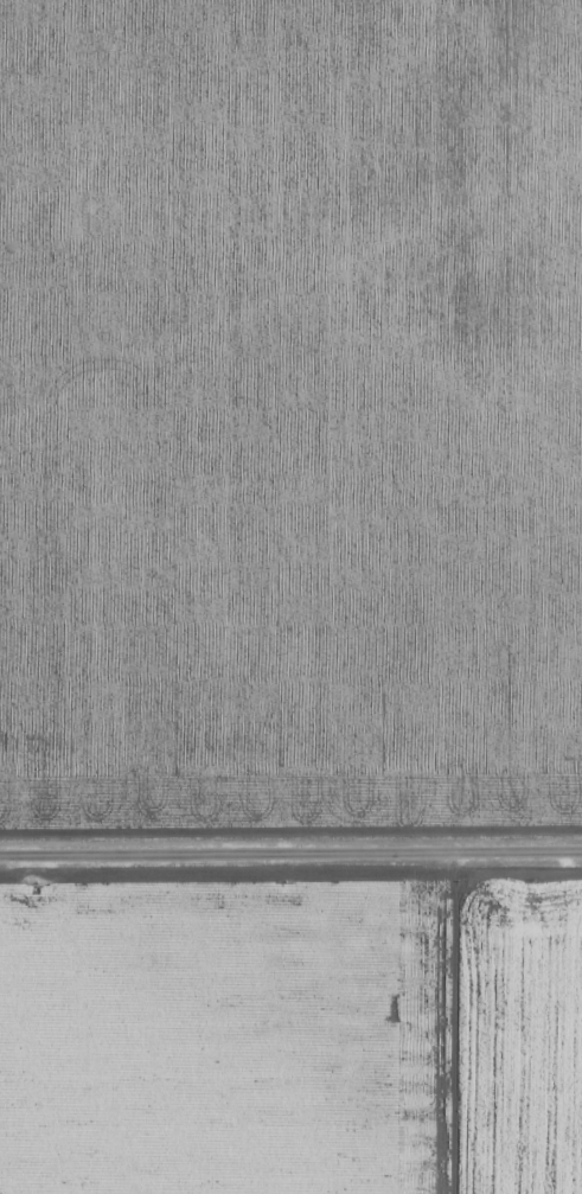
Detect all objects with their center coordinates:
road: (290, 835)

